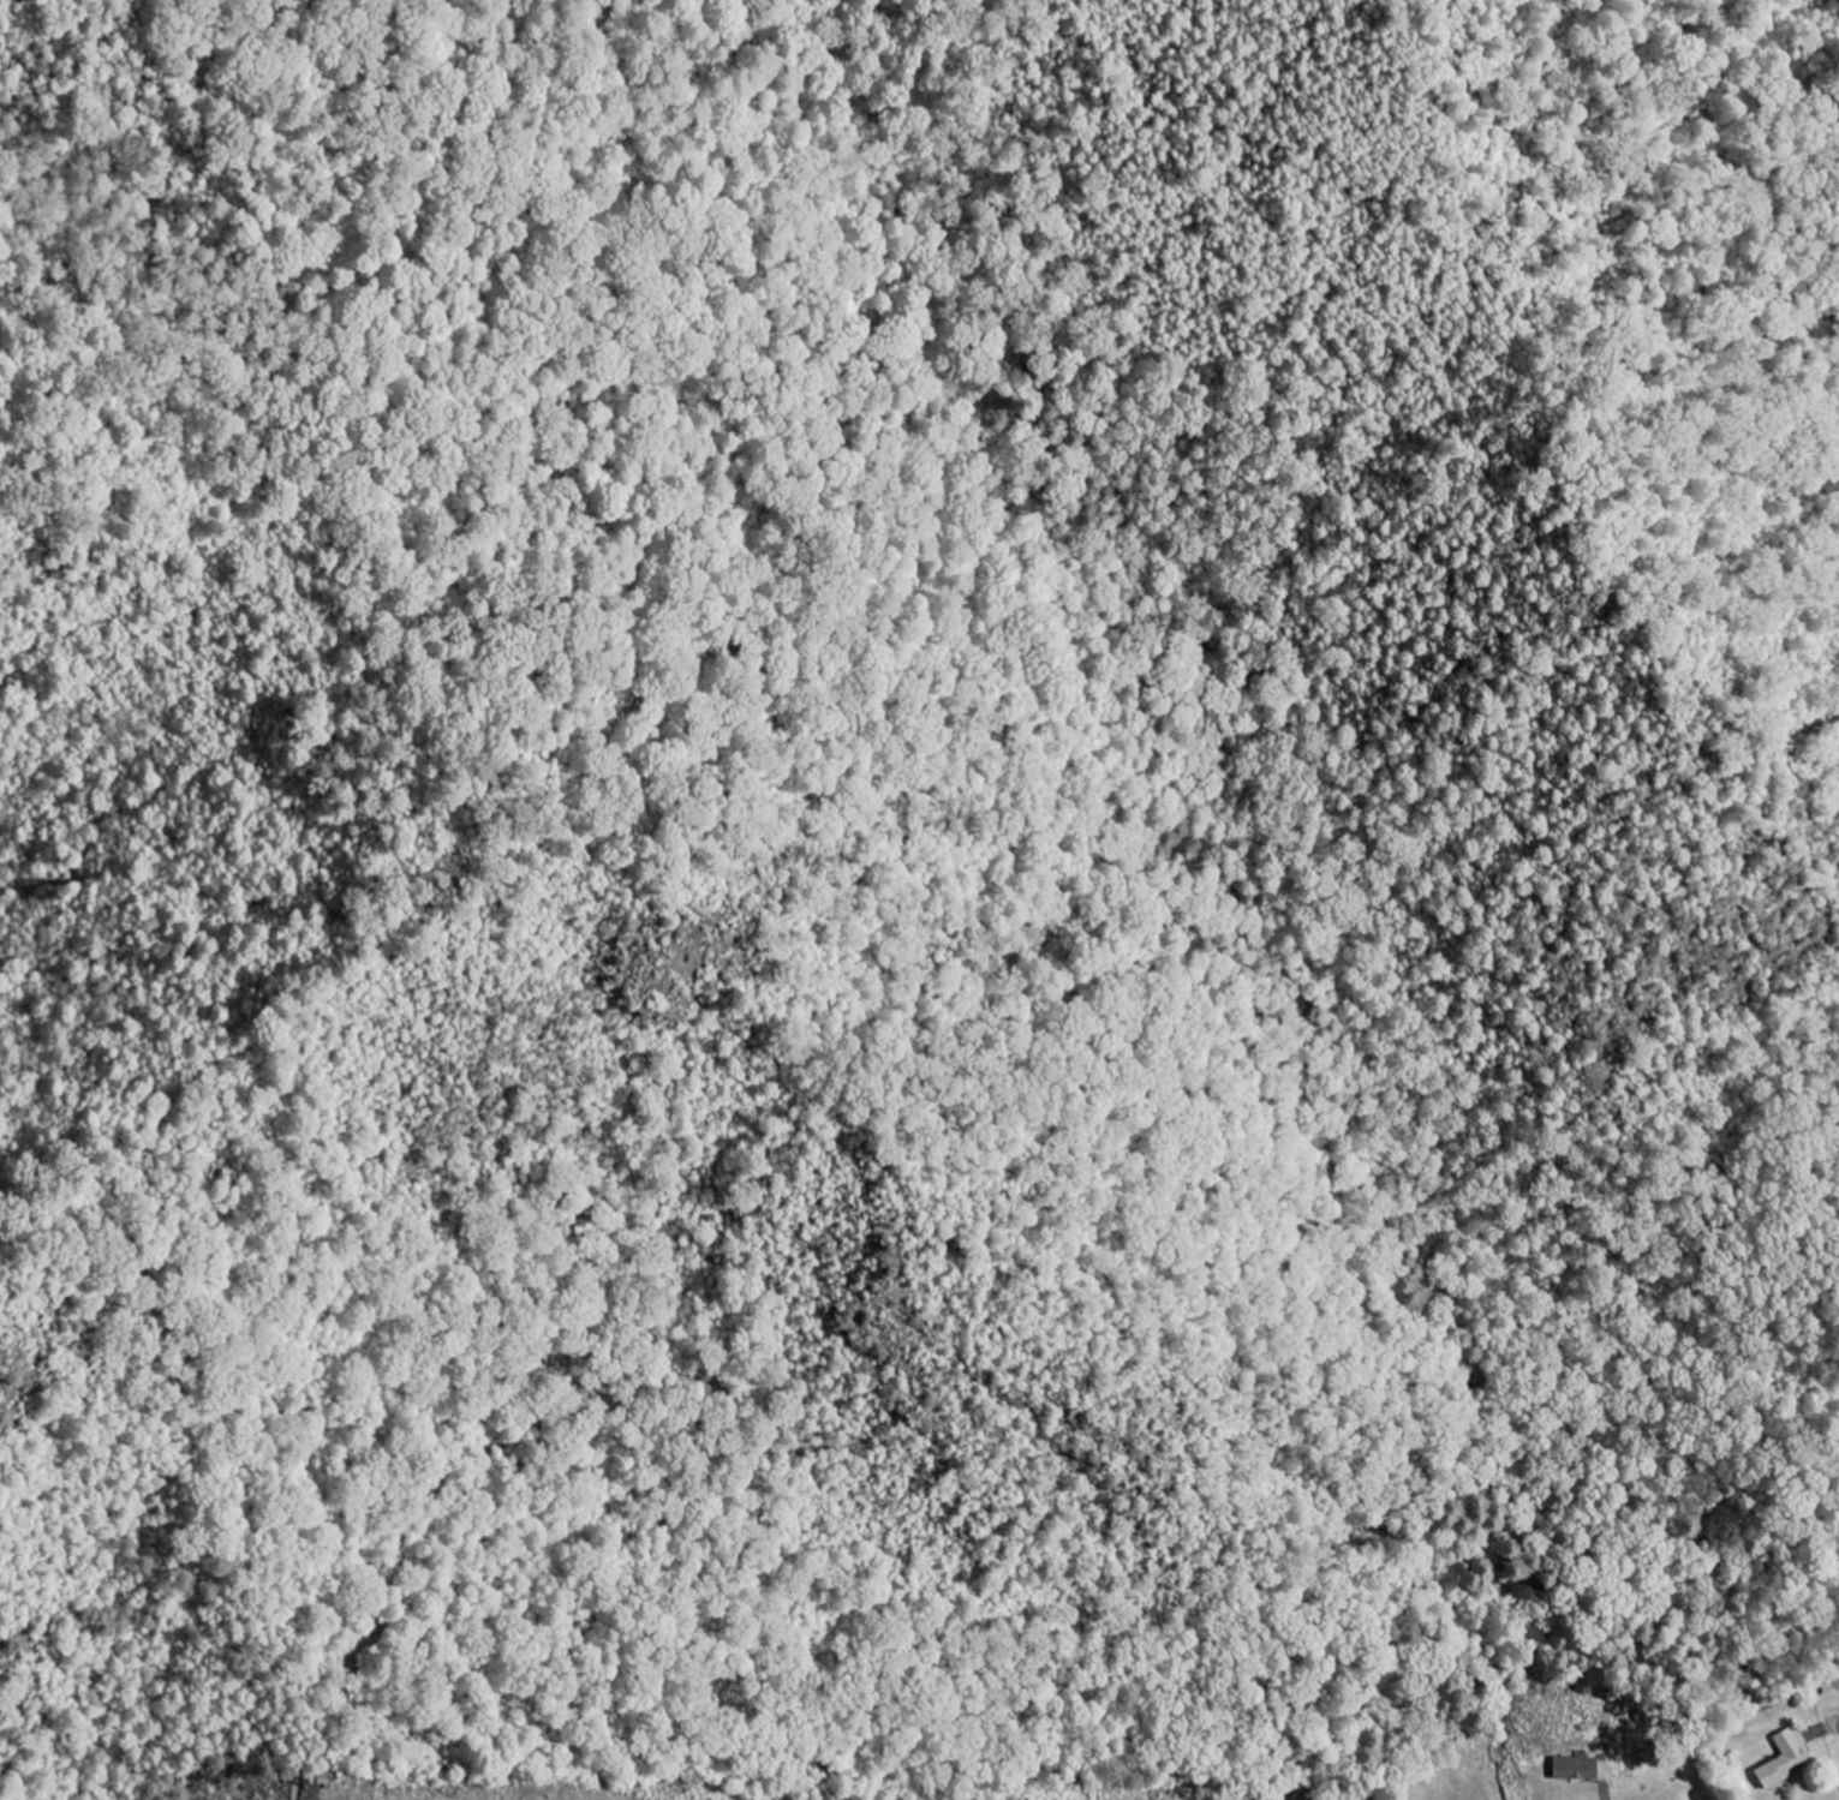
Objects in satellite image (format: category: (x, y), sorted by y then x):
building: (1784, 1759)
building: (1574, 1770)
road: (1629, 1789)

